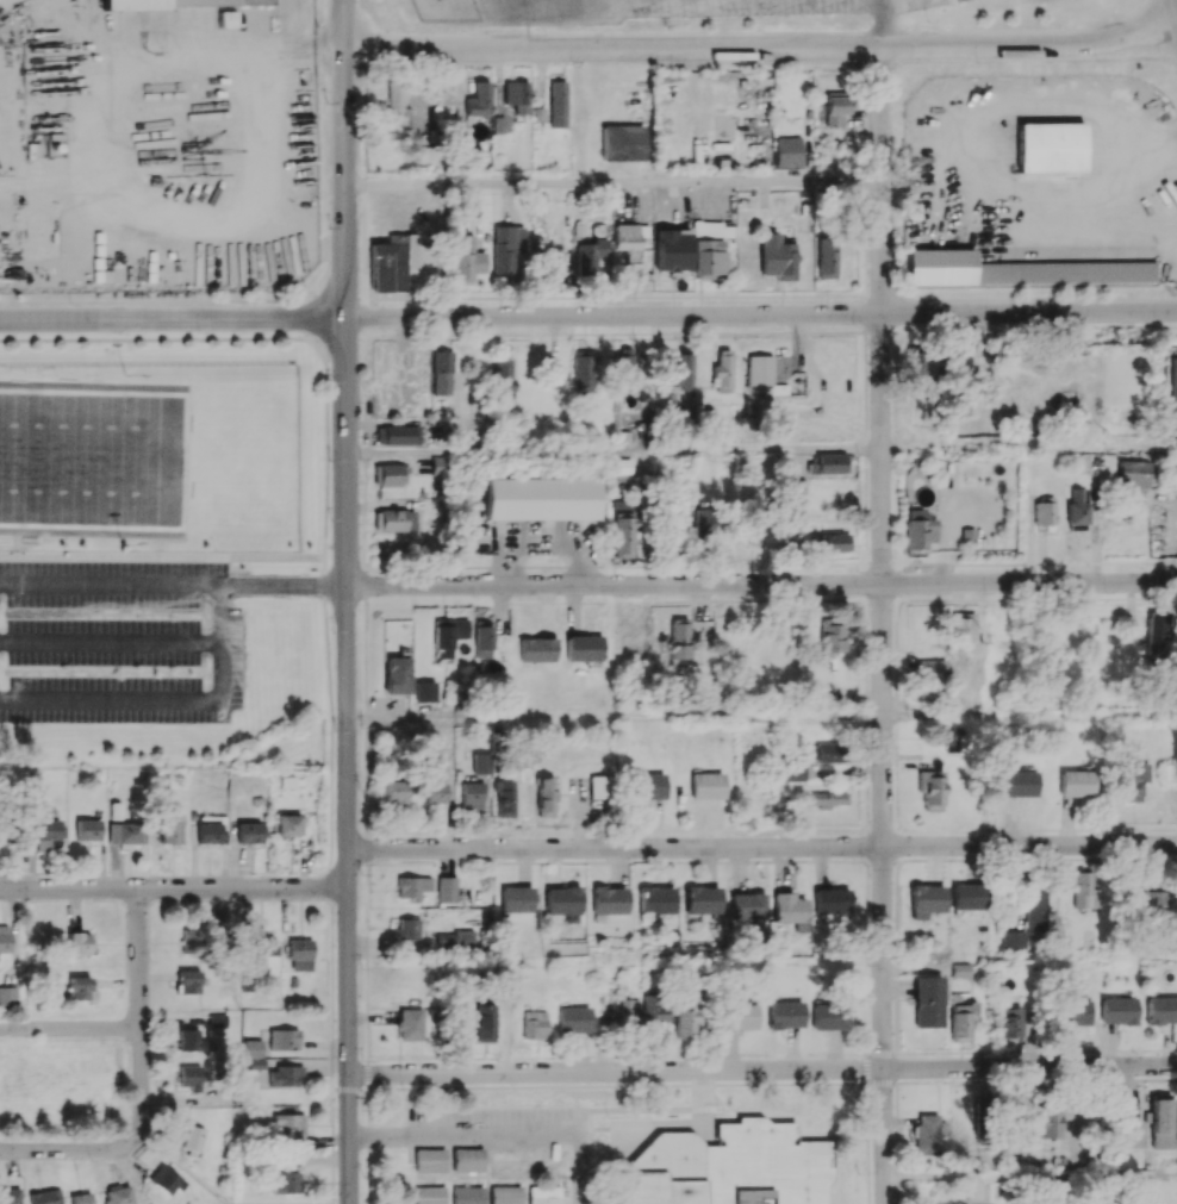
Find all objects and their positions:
building: (186, 2)
road: (883, 23)
road: (761, 46)
road: (291, 50)
building: (517, 95)
building: (479, 99)
building: (556, 104)
building: (397, 105)
building: (835, 110)
building: (498, 124)
building: (622, 142)
building: (1050, 146)
building: (787, 151)
road: (343, 158)
road: (964, 171)
road: (611, 186)
building: (628, 236)
building: (709, 247)
building: (506, 250)
building: (672, 250)
building: (827, 256)
building: (591, 257)
building: (777, 257)
building: (467, 260)
building: (393, 261)
building: (1017, 269)
road: (761, 314)
road: (172, 318)
building: (916, 363)
building: (623, 366)
building: (683, 369)
building: (759, 369)
building: (442, 372)
building: (584, 372)
building: (722, 372)
building: (1175, 372)
building: (503, 373)
building: (1175, 419)
building: (397, 435)
road: (1029, 448)
road: (614, 450)
park: (91, 458)
building: (828, 463)
building: (390, 474)
building: (1133, 474)
building: (540, 498)
building: (1078, 506)
building: (1044, 511)
building: (397, 520)
building: (704, 525)
building: (918, 529)
building: (624, 530)
building: (830, 542)
building: (156, 555)
road: (882, 557)
road: (111, 581)
road: (285, 584)
road: (762, 584)
building: (963, 626)
building: (448, 636)
building: (830, 638)
building: (1159, 638)
road: (111, 641)
building: (484, 641)
building: (679, 642)
building: (584, 648)
building: (537, 649)
building: (930, 670)
building: (397, 675)
building: (425, 691)
road: (166, 699)
road: (1029, 715)
road: (615, 717)
building: (951, 740)
building: (828, 751)
road: (348, 760)
building: (480, 762)
building: (795, 772)
building: (29, 778)
building: (1133, 780)
building: (1075, 782)
building: (1017, 784)
building: (647, 785)
building: (705, 785)
building: (597, 786)
building: (930, 788)
building: (394, 791)
building: (435, 792)
building: (471, 796)
building: (544, 797)
building: (503, 798)
building: (827, 798)
building: (288, 824)
building: (49, 829)
building: (87, 829)
building: (170, 829)
building: (2, 830)
building: (208, 832)
building: (249, 832)
building: (126, 834)
road: (761, 846)
road: (174, 886)
building: (412, 886)
building: (447, 888)
building: (1084, 891)
building: (967, 896)
building: (517, 898)
building: (610, 899)
building: (702, 899)
building: (927, 899)
building: (1148, 899)
building: (832, 900)
building: (655, 902)
building: (563, 903)
building: (747, 905)
building: (1036, 906)
building: (789, 907)
building: (407, 928)
building: (5, 938)
building: (463, 938)
building: (1014, 940)
building: (189, 941)
building: (79, 942)
building: (261, 944)
building: (300, 948)
road: (138, 956)
building: (961, 969)
building: (188, 981)
building: (79, 987)
building: (8, 997)
building: (928, 1002)
building: (1116, 1010)
building: (1160, 1010)
building: (652, 1011)
building: (629, 1012)
building: (1072, 1012)
building: (784, 1013)
building: (737, 1016)
building: (827, 1017)
building: (961, 1018)
building: (217, 1019)
building: (573, 1019)
building: (1011, 1019)
building: (409, 1023)
building: (482, 1023)
building: (533, 1024)
building: (683, 1024)
road: (69, 1027)
building: (282, 1038)
building: (188, 1040)
building: (253, 1053)
road: (1030, 1067)
road: (616, 1071)
building: (284, 1075)
building: (191, 1077)
building: (1160, 1121)
building: (1050, 1122)
building: (288, 1124)
building: (1127, 1128)
road: (463, 1134)
building: (927, 1134)
road: (884, 1136)
building: (192, 1139)
road: (124, 1144)
building: (467, 1159)
building: (505, 1159)
building: (543, 1159)
building: (430, 1160)
building: (729, 1167)
road: (1030, 1177)
building: (164, 1180)
building: (284, 1183)
building: (118, 1194)
building: (430, 1194)
building: (467, 1194)
building: (505, 1194)
building: (543, 1194)
building: (10, 1196)
building: (45, 1197)
building: (80, 1198)
building: (1102, 1203)

